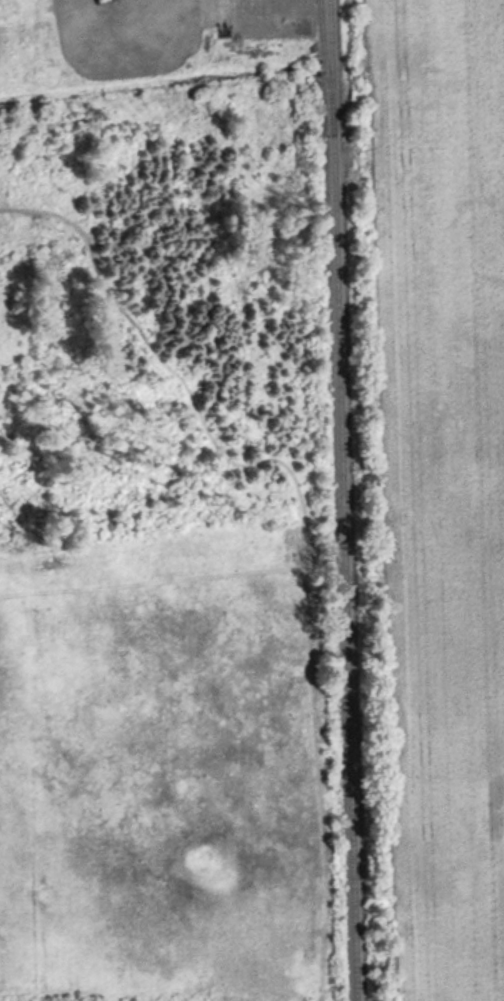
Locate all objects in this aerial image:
railway: (326, 67)
railway: (343, 500)

